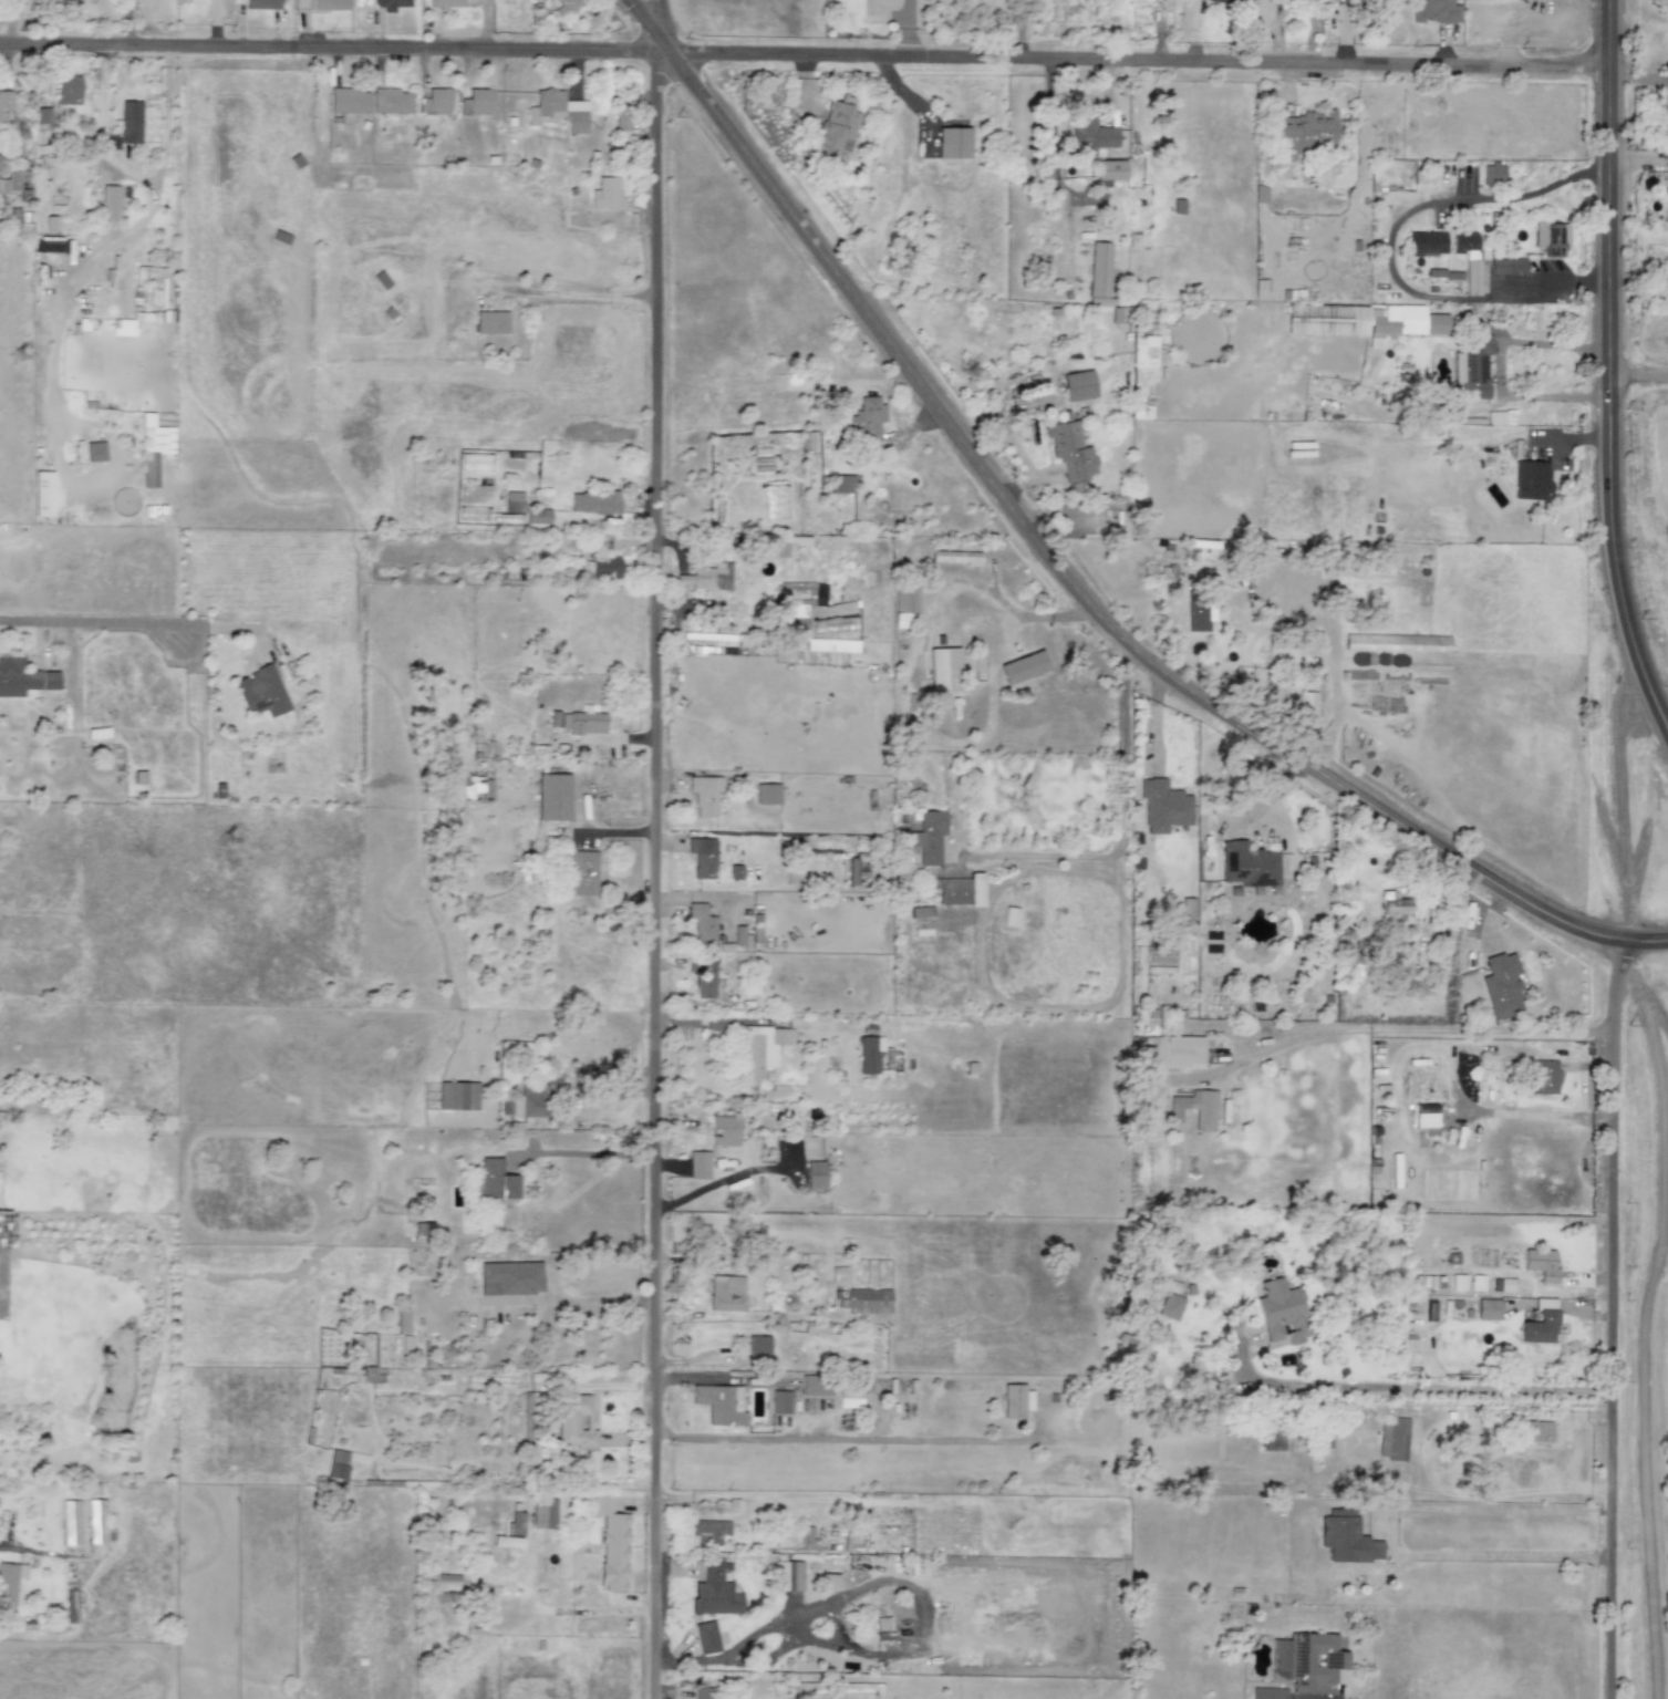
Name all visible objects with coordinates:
building: (1215, 0)
building: (1274, 1)
building: (446, 3)
building: (261, 4)
building: (328, 4)
building: (391, 4)
building: (566, 7)
building: (1433, 11)
road: (1521, 23)
road: (908, 27)
road: (19, 41)
road: (826, 52)
building: (68, 87)
building: (348, 100)
building: (390, 100)
building: (6, 101)
building: (434, 101)
building: (475, 102)
building: (558, 110)
building: (43, 116)
building: (621, 118)
building: (129, 121)
building: (0, 124)
road: (101, 130)
building: (835, 130)
building: (1302, 132)
building: (1090, 136)
building: (952, 142)
road: (1057, 158)
road: (1640, 159)
building: (1109, 169)
building: (1492, 173)
building: (14, 177)
building: (1666, 187)
building: (604, 191)
building: (110, 201)
road: (153, 204)
building: (1178, 206)
building: (1551, 237)
building: (1427, 242)
road: (1388, 246)
building: (1468, 257)
building: (1506, 266)
building: (1098, 269)
building: (1326, 319)
building: (1415, 319)
building: (490, 320)
building: (123, 327)
power tower: (15, 359)
building: (1472, 367)
road: (1500, 367)
road: (1608, 370)
building: (1142, 375)
road: (1638, 377)
building: (1077, 384)
building: (1499, 417)
building: (866, 418)
building: (153, 447)
building: (1069, 449)
building: (94, 450)
building: (1531, 479)
building: (841, 483)
building: (594, 501)
building: (537, 515)
building: (954, 556)
building: (604, 567)
building: (1375, 567)
road: (1061, 573)
building: (707, 577)
building: (903, 602)
building: (1198, 612)
road: (74, 619)
building: (1297, 639)
building: (1396, 642)
building: (1022, 666)
building: (943, 670)
building: (22, 677)
building: (261, 691)
building: (578, 722)
road: (1623, 766)
building: (476, 786)
building: (766, 792)
building: (704, 794)
building: (551, 796)
building: (1162, 805)
road: (1122, 825)
building: (926, 836)
road: (655, 849)
building: (701, 858)
power tower: (234, 860)
building: (1249, 864)
building: (849, 870)
building: (735, 871)
building: (582, 872)
building: (960, 890)
building: (1391, 903)
building: (1187, 907)
building: (920, 911)
building: (1009, 916)
road: (1120, 922)
building: (701, 925)
building: (738, 934)
road: (980, 942)
building: (703, 978)
building: (1501, 985)
road: (1396, 1029)
building: (760, 1047)
building: (1172, 1050)
building: (869, 1055)
building: (1542, 1076)
building: (457, 1095)
building: (536, 1096)
building: (1194, 1108)
building: (1424, 1115)
building: (724, 1126)
road: (579, 1151)
building: (698, 1164)
building: (815, 1174)
building: (494, 1180)
building: (423, 1229)
building: (1540, 1263)
building: (509, 1277)
building: (1513, 1285)
building: (726, 1293)
building: (862, 1299)
building: (1170, 1305)
building: (1488, 1308)
building: (1281, 1310)
road: (1609, 1317)
building: (402, 1319)
building: (1540, 1323)
road: (1638, 1326)
building: (815, 1327)
building: (757, 1345)
power tower: (448, 1351)
building: (367, 1374)
building: (1195, 1381)
building: (814, 1385)
road: (1432, 1389)
building: (849, 1396)
building: (779, 1400)
building: (1015, 1400)
building: (719, 1403)
building: (527, 1418)
building: (574, 1420)
building: (1536, 1430)
road: (876, 1437)
building: (1392, 1438)
building: (338, 1463)
building: (543, 1512)
building: (101, 1516)
building: (70, 1522)
building: (708, 1531)
building: (1346, 1537)
building: (506, 1540)
building: (611, 1543)
road: (7, 1547)
road: (1496, 1553)
building: (788, 1575)
building: (829, 1581)
building: (9, 1582)
road: (876, 1582)
building: (714, 1589)
building: (70, 1603)
building: (881, 1623)
building: (705, 1637)
building: (1309, 1661)
building: (702, 1692)
building: (1267, 1692)

